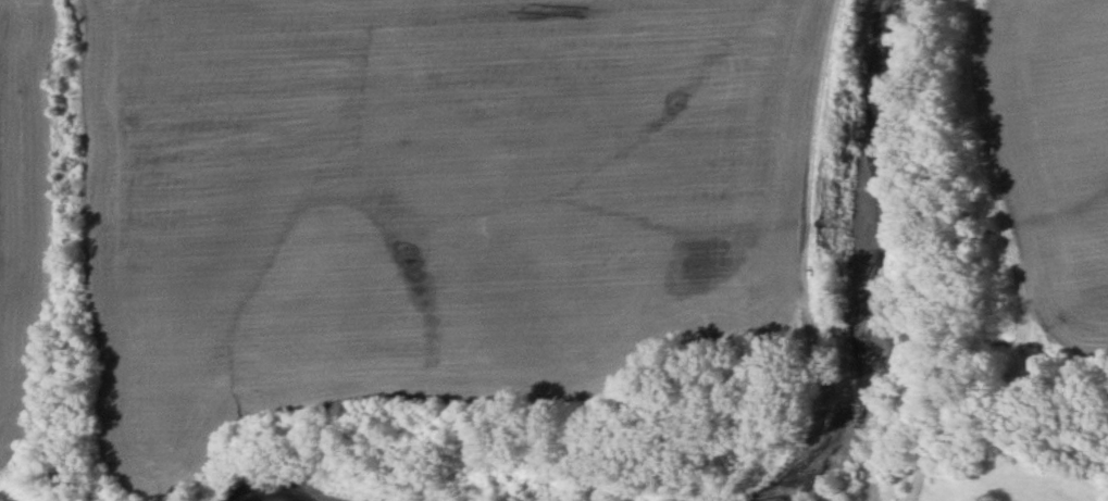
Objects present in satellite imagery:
road: (1018, 267)

